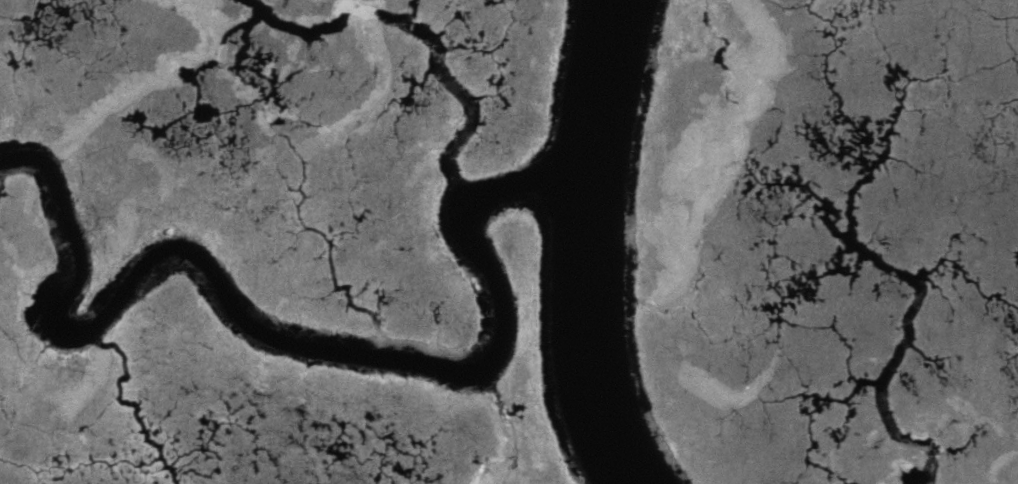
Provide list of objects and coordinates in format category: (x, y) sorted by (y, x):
river: (588, 243)

